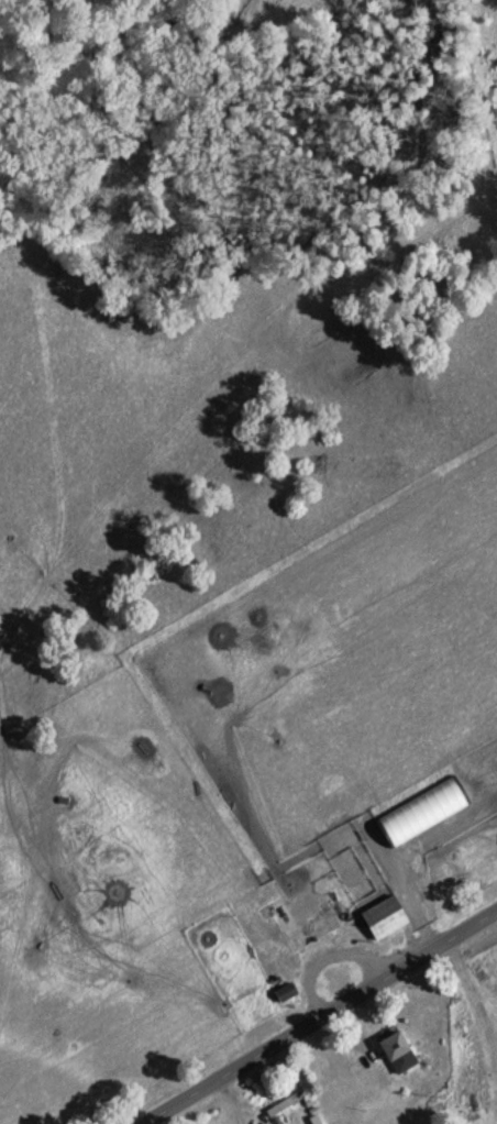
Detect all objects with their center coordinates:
road: (466, 704)
building: (385, 921)
road: (320, 1015)
building: (397, 1049)
building: (285, 1106)

